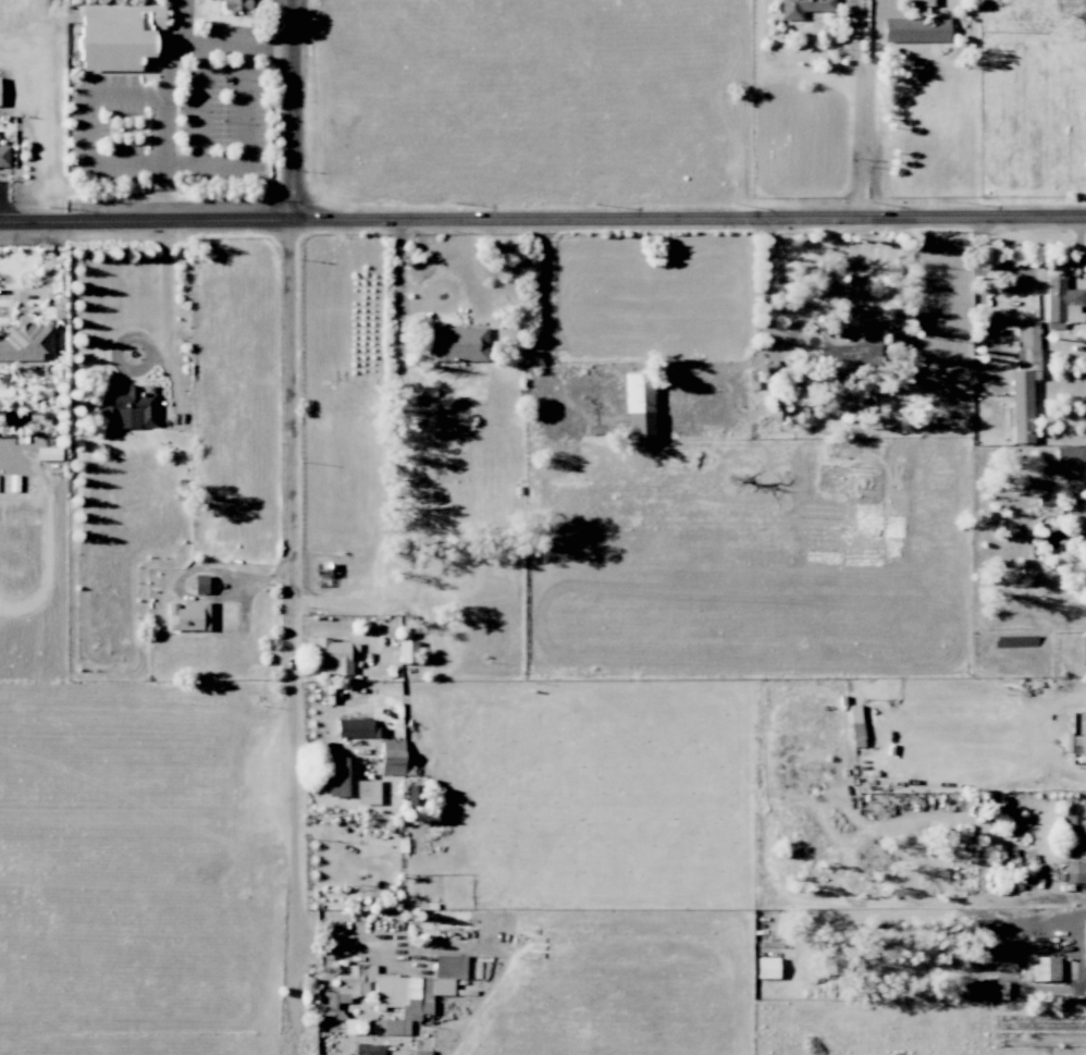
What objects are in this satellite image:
building: (921, 2)
building: (236, 4)
building: (802, 8)
road: (177, 22)
building: (915, 29)
building: (118, 35)
road: (170, 72)
road: (199, 103)
road: (871, 109)
road: (88, 127)
road: (245, 145)
building: (3, 157)
road: (543, 220)
road: (45, 279)
road: (766, 283)
road: (399, 287)
building: (1062, 303)
road: (165, 318)
building: (1026, 333)
building: (25, 341)
building: (455, 344)
building: (848, 346)
building: (1022, 393)
building: (639, 406)
building: (127, 407)
building: (47, 454)
building: (1069, 457)
road: (297, 508)
building: (1085, 535)
building: (200, 584)
building: (187, 616)
building: (1084, 649)
building: (407, 652)
building: (331, 655)
building: (357, 728)
building: (392, 757)
building: (350, 782)
building: (414, 797)
building: (1076, 822)
building: (1075, 872)
road: (356, 954)
building: (766, 968)
building: (1038, 968)
building: (392, 991)

